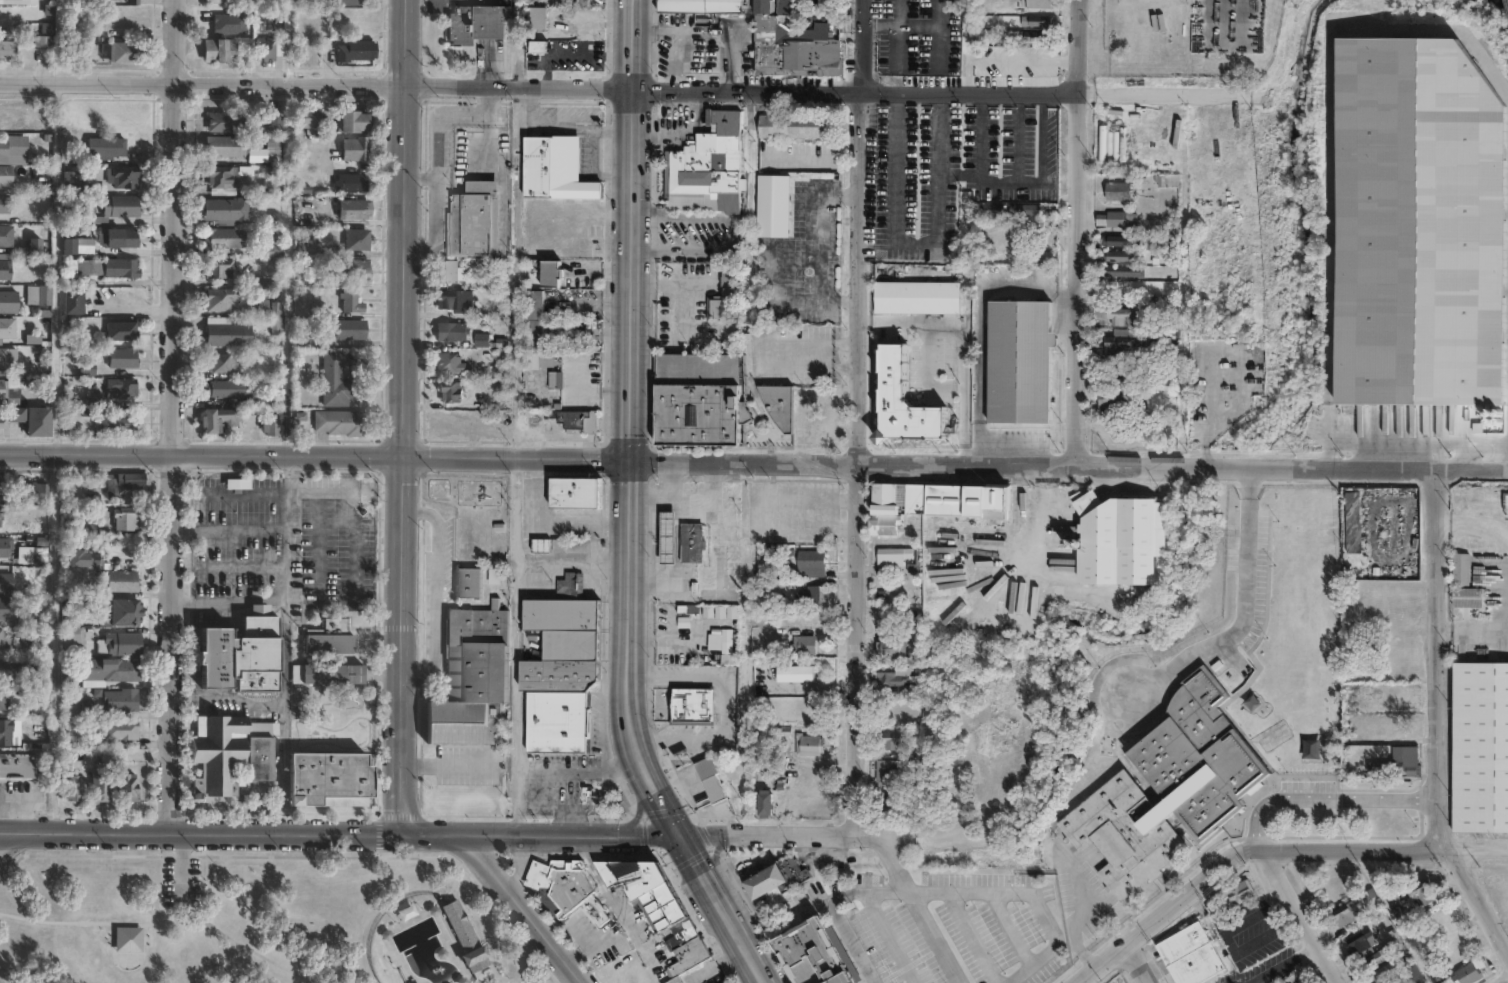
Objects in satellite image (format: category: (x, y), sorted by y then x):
building: (123, 0)
building: (15, 2)
building: (133, 2)
building: (219, 2)
building: (351, 2)
building: (824, 2)
building: (1034, 4)
railway: (1506, 4)
building: (699, 5)
road: (901, 12)
road: (941, 12)
building: (538, 17)
building: (1039, 21)
building: (477, 23)
road: (900, 24)
parking lot: (916, 35)
building: (1040, 36)
building: (43, 37)
building: (791, 39)
road: (671, 40)
road: (730, 40)
road: (897, 45)
building: (538, 46)
road: (940, 46)
building: (7, 50)
building: (265, 50)
building: (1038, 50)
building: (214, 51)
building: (353, 51)
building: (126, 52)
road: (317, 81)
road: (952, 90)
building: (307, 117)
building: (222, 121)
building: (274, 121)
building: (350, 121)
building: (793, 124)
road: (1041, 138)
road: (491, 139)
building: (220, 146)
building: (104, 147)
building: (7, 149)
building: (272, 149)
building: (353, 149)
parking lot: (796, 155)
road: (981, 155)
road: (435, 156)
road: (1018, 159)
building: (707, 167)
building: (556, 168)
parking lot: (946, 168)
building: (219, 176)
building: (3, 177)
building: (121, 177)
road: (419, 177)
building: (1165, 180)
building: (348, 183)
road: (1029, 183)
building: (72, 184)
building: (301, 187)
building: (1118, 191)
building: (772, 204)
building: (1, 205)
building: (118, 206)
building: (992, 209)
building: (223, 210)
building: (351, 210)
building: (1033, 210)
building: (82, 217)
building: (1115, 218)
building: (475, 220)
building: (1418, 225)
road: (404, 229)
road: (632, 231)
road: (733, 233)
road: (1076, 233)
building: (4, 237)
building: (114, 237)
building: (220, 239)
building: (354, 240)
building: (1120, 240)
building: (73, 242)
building: (32, 246)
road: (914, 246)
building: (271, 249)
building: (1113, 253)
building: (1041, 256)
parking lot: (802, 257)
building: (119, 268)
building: (216, 269)
building: (349, 269)
building: (446, 271)
building: (3, 272)
building: (1117, 272)
building: (545, 274)
building: (296, 276)
road: (820, 280)
building: (1107, 287)
building: (722, 293)
building: (916, 295)
building: (36, 297)
building: (218, 299)
building: (454, 300)
road: (839, 300)
building: (1142, 300)
building: (70, 302)
building: (348, 302)
building: (2, 303)
building: (273, 310)
building: (1120, 317)
building: (534, 320)
building: (6, 326)
building: (64, 327)
road: (978, 328)
building: (347, 330)
building: (119, 331)
building: (452, 332)
building: (1152, 333)
building: (226, 335)
building: (1115, 343)
road: (961, 346)
parking lot: (797, 354)
building: (121, 358)
building: (531, 361)
building: (5, 362)
building: (1017, 362)
building: (218, 363)
building: (449, 363)
building: (1161, 367)
building: (84, 369)
road: (925, 372)
building: (1113, 376)
building: (332, 379)
building: (556, 380)
building: (1140, 385)
building: (118, 388)
building: (223, 388)
building: (450, 391)
building: (7, 392)
building: (699, 397)
building: (90, 399)
building: (258, 399)
building: (902, 399)
building: (1112, 400)
building: (777, 403)
building: (564, 408)
building: (9, 417)
road: (171, 417)
road: (856, 417)
building: (218, 419)
building: (575, 419)
building: (34, 422)
building: (113, 423)
building: (337, 423)
building: (268, 428)
road: (1007, 439)
road: (200, 455)
road: (515, 459)
traffic signals: (629, 462)
road: (1068, 467)
building: (235, 482)
building: (1, 486)
building: (125, 486)
building: (36, 492)
building: (577, 494)
building: (932, 501)
road: (516, 509)
building: (0, 513)
road: (1039, 514)
building: (124, 519)
road: (552, 519)
building: (666, 538)
gas station: (666, 538)
building: (1120, 541)
building: (693, 542)
building: (548, 546)
building: (3, 549)
building: (32, 555)
building: (899, 558)
building: (84, 559)
road: (572, 559)
building: (810, 563)
building: (494, 576)
building: (468, 580)
building: (119, 581)
building: (5, 584)
building: (568, 586)
road: (433, 594)
building: (805, 594)
building: (1466, 596)
road: (226, 598)
road: (628, 601)
building: (4, 609)
building: (686, 609)
building: (126, 611)
building: (720, 611)
road: (1240, 612)
building: (71, 637)
building: (328, 637)
building: (5, 638)
building: (725, 641)
building: (118, 644)
building: (566, 644)
building: (804, 645)
road: (283, 646)
road: (401, 646)
building: (889, 648)
building: (238, 653)
building: (10, 669)
building: (40, 670)
building: (112, 670)
building: (331, 673)
building: (794, 676)
building: (67, 678)
building: (471, 679)
building: (887, 681)
road: (515, 697)
building: (120, 700)
building: (3, 702)
building: (687, 702)
building: (85, 709)
building: (559, 721)
road: (1437, 721)
building: (1387, 722)
building: (119, 730)
building: (4, 732)
building: (888, 740)
building: (809, 745)
building: (1480, 748)
building: (257, 749)
building: (216, 753)
road: (637, 753)
building: (18, 763)
road: (445, 764)
building: (1399, 765)
building: (549, 766)
road: (578, 773)
building: (886, 773)
building: (330, 777)
building: (910, 778)
building: (708, 780)
building: (1168, 785)
building: (74, 788)
building: (128, 788)
building: (101, 789)
road: (660, 801)
road: (1327, 803)
building: (765, 805)
building: (889, 805)
road: (556, 809)
road: (640, 811)
road: (339, 835)
road: (795, 836)
traffic signals: (679, 837)
road: (11, 842)
road: (1257, 850)
road: (1355, 850)
road: (1477, 850)
road: (714, 860)
road: (694, 861)
building: (530, 866)
road: (893, 866)
road: (182, 868)
building: (776, 879)
parking lot: (181, 881)
building: (572, 891)
building: (1422, 891)
road: (1026, 892)
building: (1237, 892)
building: (657, 905)
building: (790, 905)
road: (828, 906)
road: (524, 909)
road: (1158, 911)
building: (1346, 913)
road: (725, 915)
road: (1303, 916)
park: (253, 919)
building: (1440, 922)
building: (459, 925)
road: (935, 937)
building: (127, 938)
building: (1362, 941)
water park: (424, 943)
building: (1191, 954)
building: (1378, 956)
building: (817, 957)
building: (474, 958)
road: (1140, 960)
road: (1275, 961)
road: (752, 963)
building: (1387, 969)
building: (1469, 972)
building: (1400, 980)
building: (678, 981)
building: (1289, 981)
building: (727, 982)

